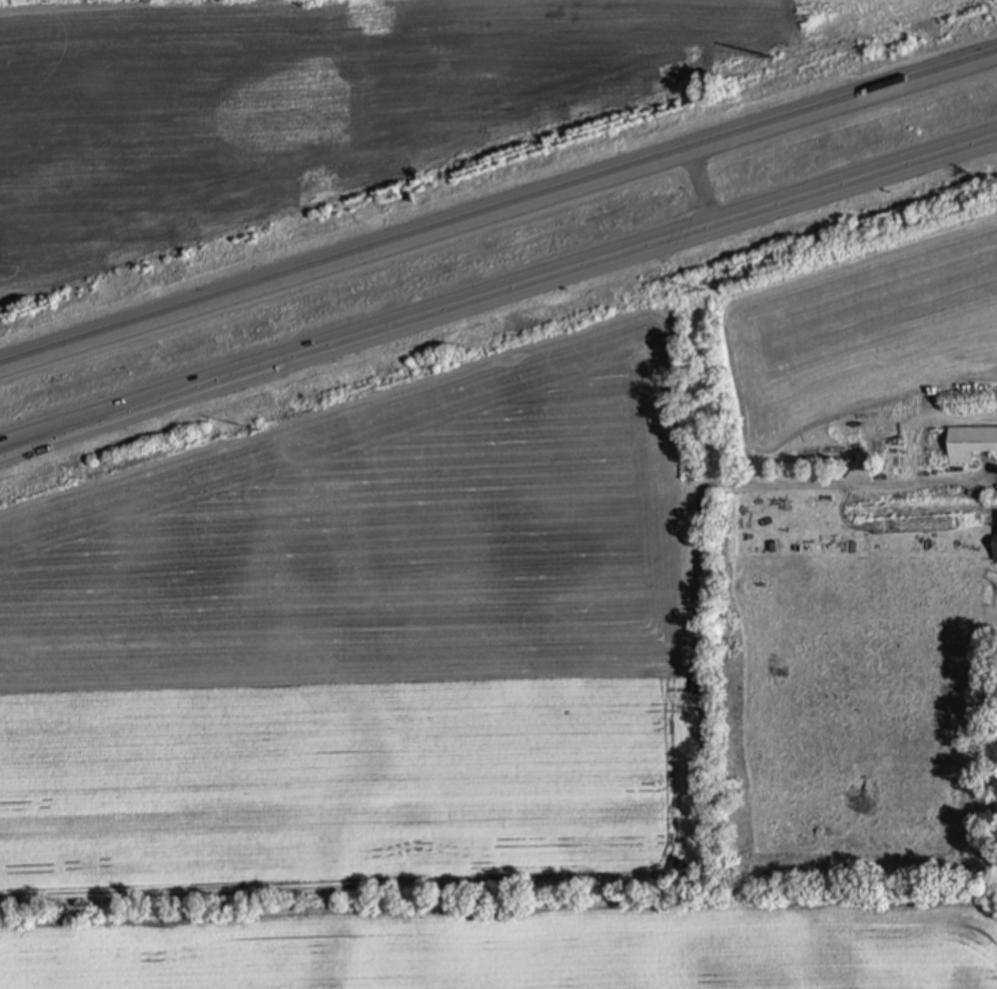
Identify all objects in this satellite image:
road: (704, 195)
road: (498, 217)
road: (644, 254)
road: (146, 410)
building: (970, 442)
building: (995, 537)

